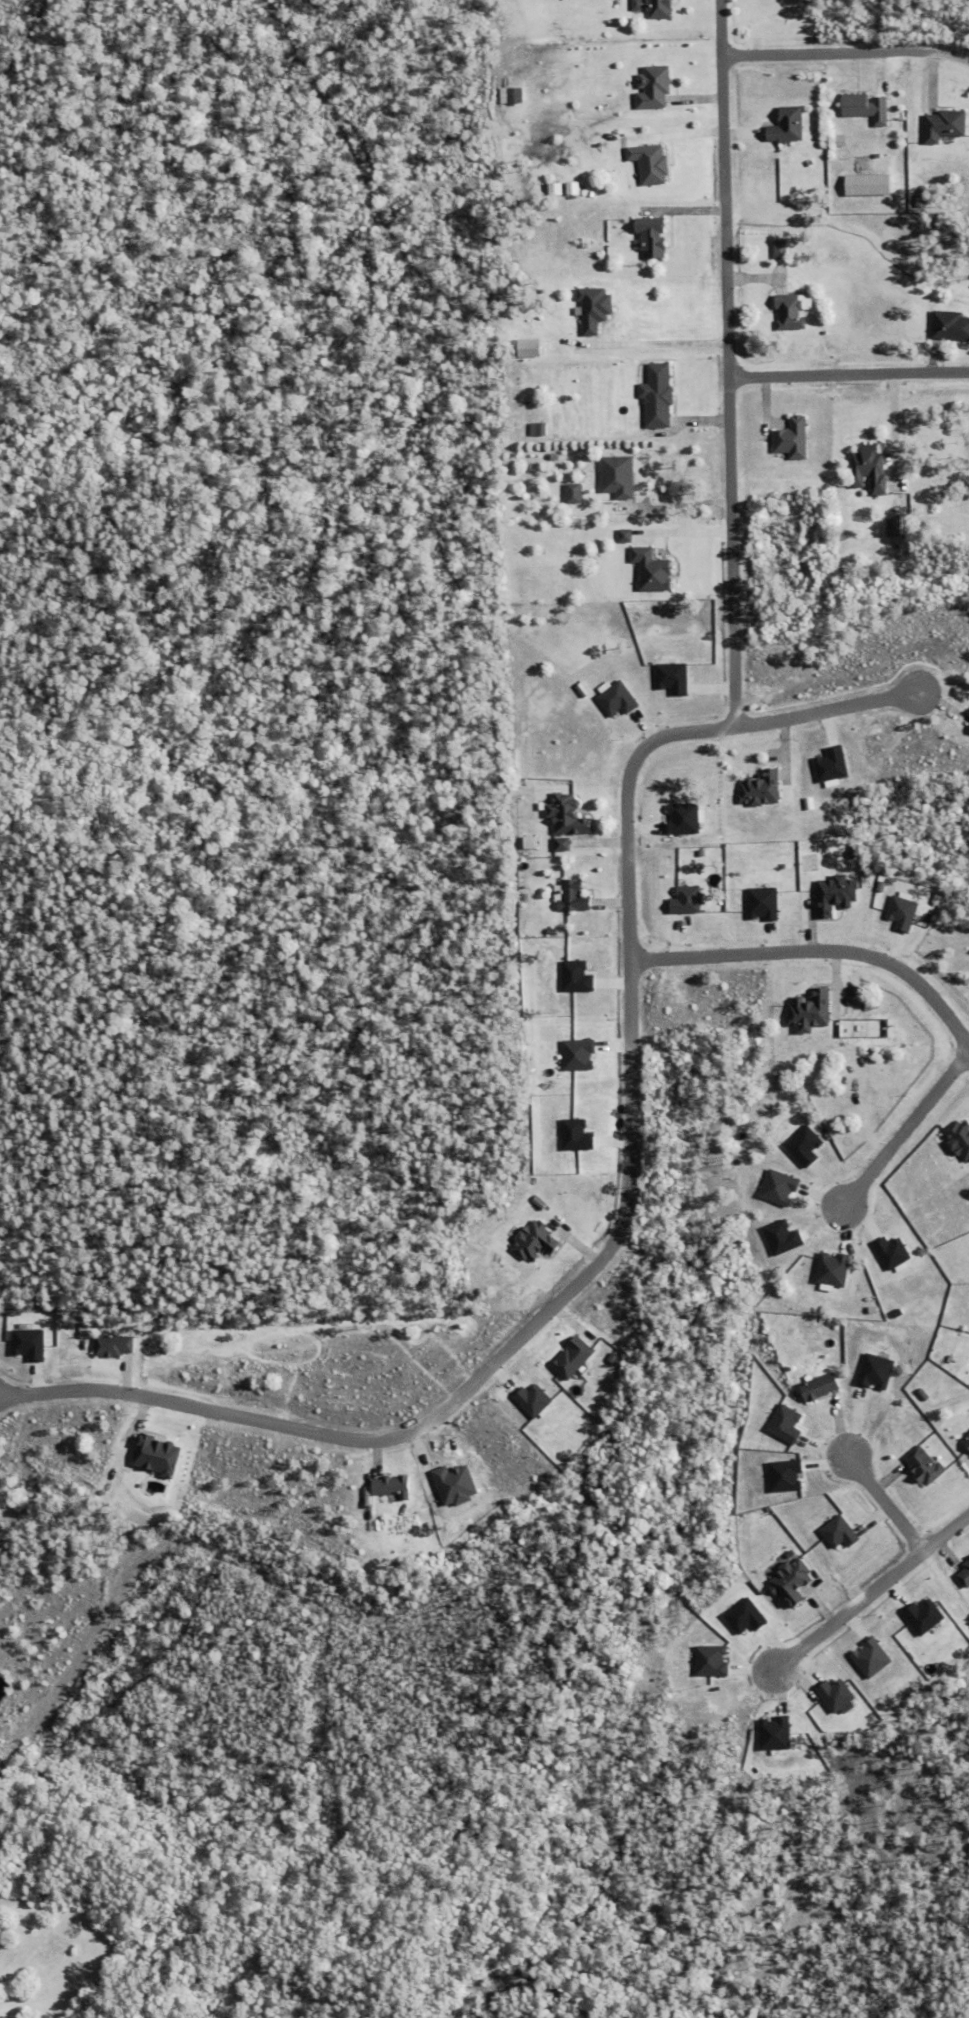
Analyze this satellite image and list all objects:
building: (638, 5)
building: (659, 8)
road: (849, 52)
building: (653, 87)
building: (512, 94)
building: (865, 108)
building: (946, 124)
building: (788, 126)
building: (843, 139)
building: (649, 163)
building: (871, 183)
building: (576, 187)
building: (652, 241)
building: (782, 248)
building: (595, 307)
building: (789, 312)
building: (950, 326)
road: (660, 344)
building: (531, 347)
road: (733, 365)
road: (851, 380)
building: (660, 395)
building: (540, 428)
road: (888, 429)
building: (792, 439)
building: (554, 458)
building: (618, 477)
building: (574, 494)
building: (627, 535)
building: (655, 569)
building: (833, 764)
building: (762, 788)
building: (569, 814)
building: (685, 818)
building: (532, 841)
building: (564, 843)
building: (837, 894)
building: (572, 896)
building: (688, 900)
building: (765, 902)
building: (905, 912)
road: (820, 955)
building: (579, 976)
building: (812, 1011)
building: (581, 1054)
road: (903, 1130)
building: (579, 1135)
building: (960, 1139)
building: (806, 1145)
building: (781, 1187)
road: (627, 1198)
building: (784, 1237)
building: (538, 1241)
building: (894, 1252)
building: (835, 1269)
building: (31, 1343)
building: (114, 1344)
building: (576, 1357)
building: (877, 1370)
building: (822, 1385)
building: (536, 1399)
building: (787, 1422)
building: (967, 1441)
building: (159, 1453)
building: (926, 1464)
building: (787, 1474)
building: (394, 1485)
road: (885, 1502)
building: (841, 1531)
building: (964, 1574)
building: (793, 1580)
road: (868, 1595)
building: (747, 1615)
building: (926, 1615)
building: (873, 1657)
building: (837, 1694)
building: (777, 1732)

